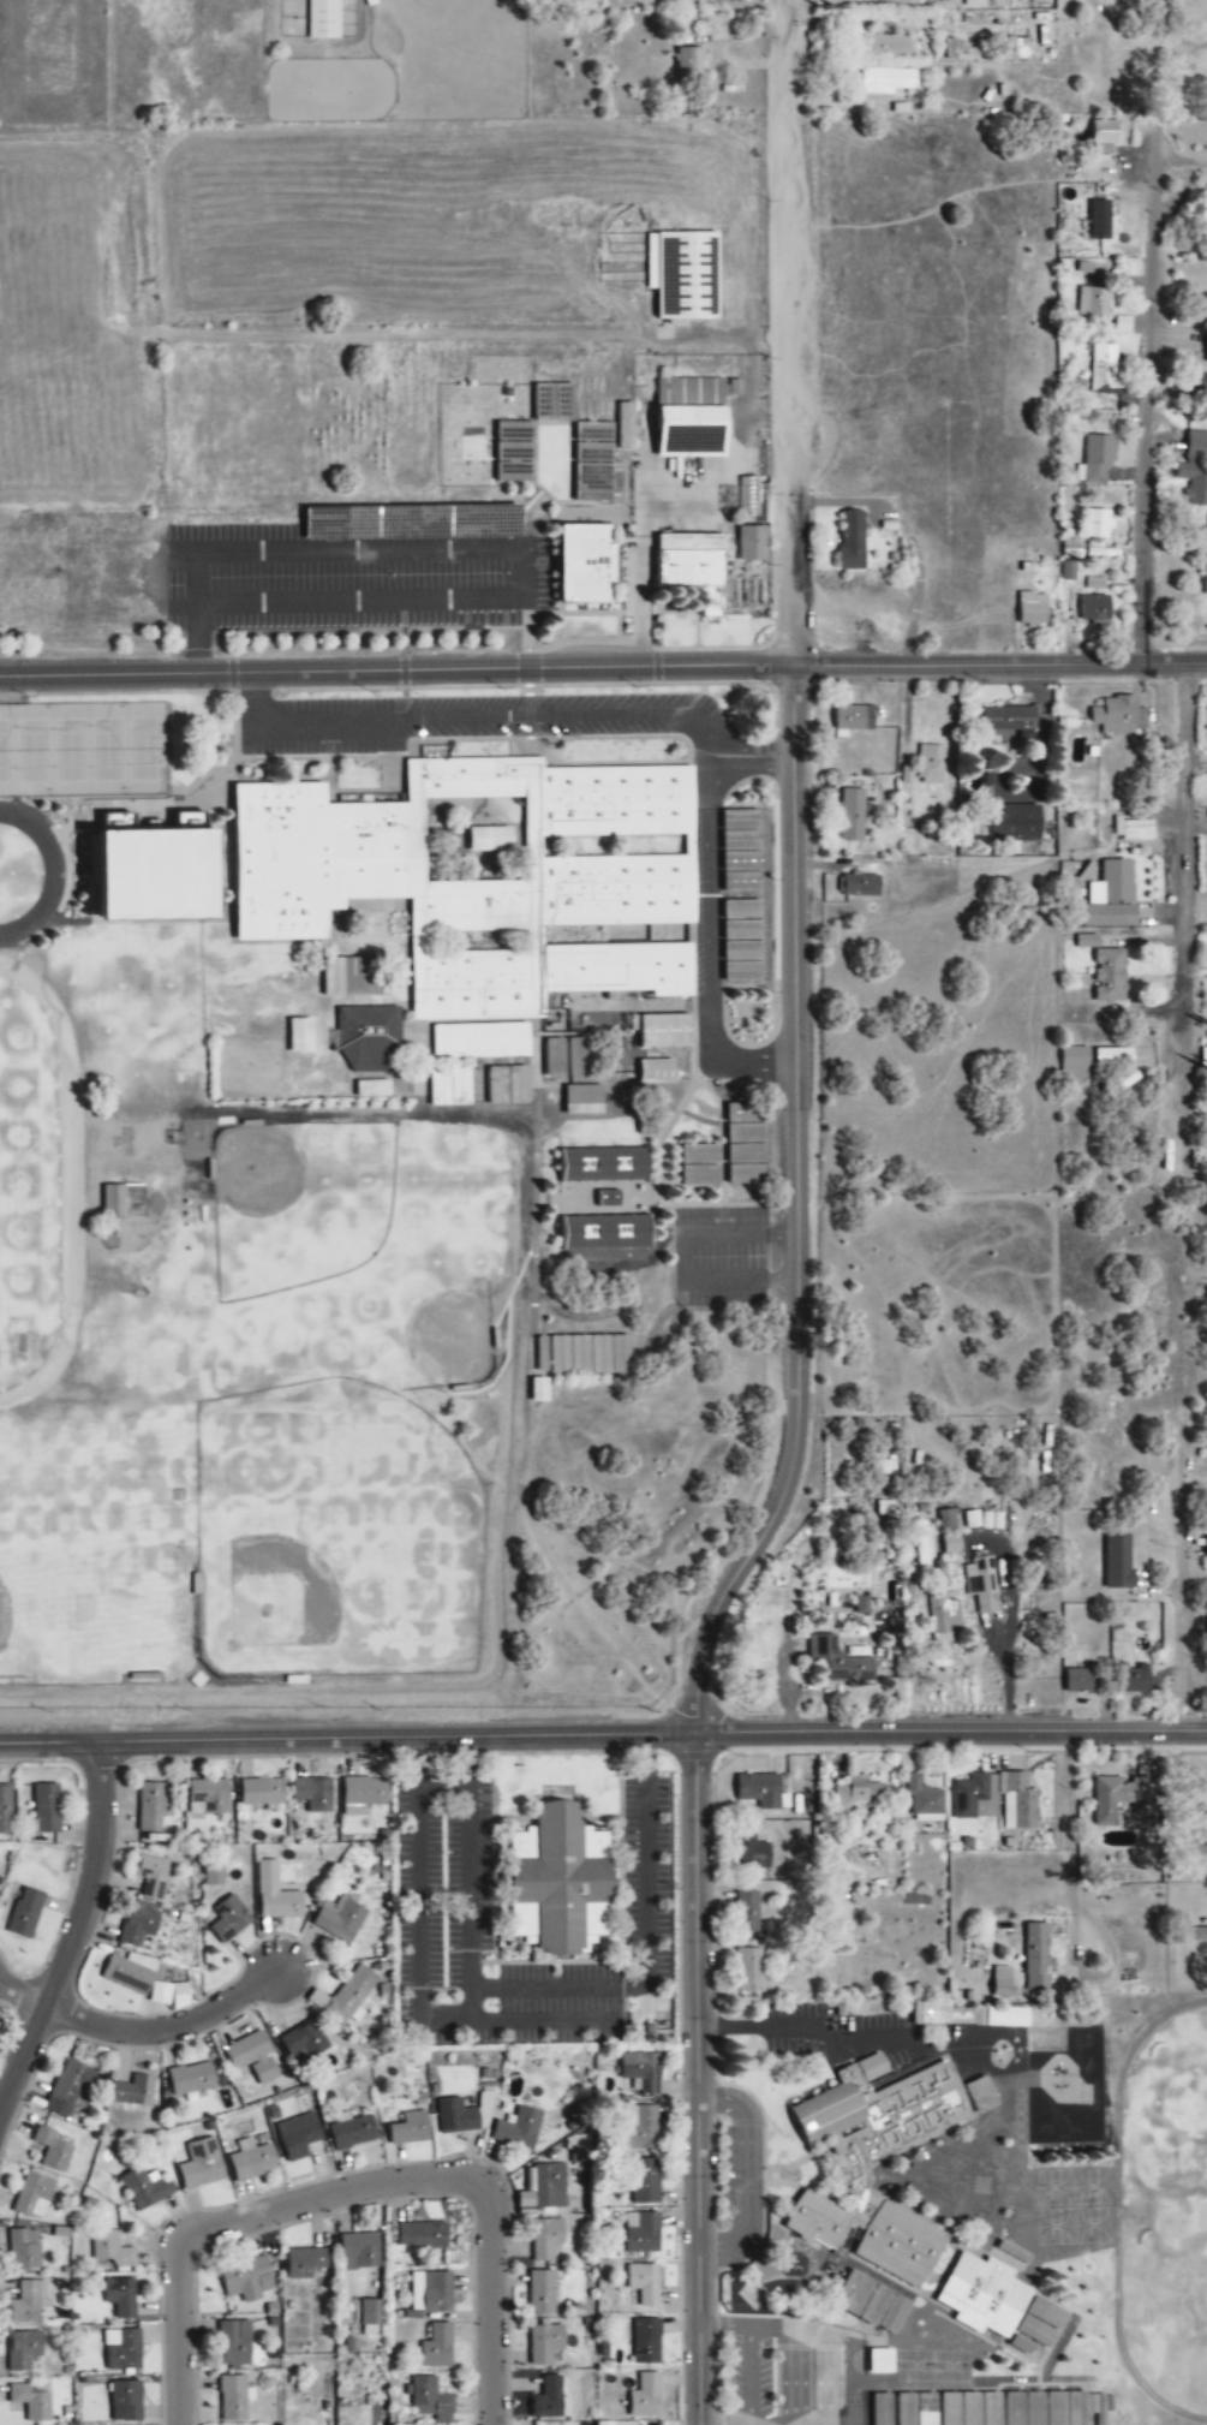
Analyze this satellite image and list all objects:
building: (665, 0)
building: (957, 0)
building: (976, 4)
building: (324, 20)
building: (891, 46)
building: (691, 64)
building: (886, 82)
building: (1105, 131)
building: (1100, 220)
building: (685, 274)
building: (1093, 304)
road: (790, 333)
building: (1104, 374)
road: (1148, 398)
building: (692, 416)
building: (627, 425)
building: (515, 452)
building: (1098, 458)
building: (1195, 470)
building: (751, 497)
building: (1098, 524)
building: (853, 540)
building: (1071, 542)
building: (753, 543)
building: (588, 564)
building: (1069, 571)
building: (1094, 583)
building: (1095, 608)
building: (1033, 609)
road: (999, 666)
road: (395, 669)
road: (508, 714)
building: (1119, 715)
building: (853, 720)
building: (1012, 721)
building: (434, 752)
building: (931, 762)
building: (853, 815)
building: (1018, 824)
building: (1137, 830)
road: (1153, 846)
building: (740, 851)
building: (161, 875)
building: (484, 876)
building: (860, 886)
building: (1112, 896)
building: (1087, 942)
road: (706, 953)
building: (742, 972)
building: (1110, 976)
building: (351, 977)
building: (664, 1031)
building: (301, 1036)
building: (369, 1037)
building: (479, 1041)
building: (554, 1057)
building: (578, 1057)
building: (1113, 1057)
building: (1205, 1059)
building: (1076, 1067)
building: (657, 1071)
building: (506, 1085)
building: (372, 1089)
road: (796, 1094)
building: (584, 1100)
building: (746, 1144)
building: (700, 1155)
building: (605, 1167)
building: (699, 1175)
building: (114, 1203)
building: (540, 1354)
building: (590, 1356)
building: (885, 1467)
building: (946, 1520)
building: (982, 1520)
building: (922, 1544)
building: (951, 1545)
building: (1118, 1562)
building: (979, 1578)
building: (986, 1604)
road: (1199, 1605)
building: (943, 1617)
road: (712, 1619)
building: (1081, 1680)
building: (1134, 1680)
road: (951, 1733)
road: (348, 1741)
building: (262, 1792)
building: (856, 1792)
building: (313, 1793)
building: (763, 1793)
building: (364, 1794)
building: (976, 1798)
building: (1117, 1798)
building: (924, 1800)
building: (1018, 1803)
building: (151, 1806)
building: (47, 1807)
building: (6, 1810)
building: (754, 1852)
building: (214, 1875)
building: (151, 1877)
building: (558, 1877)
building: (276, 1894)
building: (747, 1911)
building: (25, 1913)
building: (229, 1918)
building: (341, 1918)
building: (138, 1923)
road: (76, 1936)
building: (1038, 1955)
building: (749, 1970)
building: (130, 1972)
building: (1002, 1982)
building: (171, 1994)
building: (345, 1995)
building: (966, 2014)
road: (144, 2032)
building: (651, 2032)
building: (305, 2042)
building: (253, 2057)
building: (643, 2072)
building: (192, 2078)
road: (698, 2080)
building: (70, 2089)
building: (133, 2091)
building: (982, 2095)
building: (456, 2116)
building: (647, 2127)
building: (410, 2128)
building: (520, 2128)
building: (352, 2131)
building: (299, 2135)
building: (53, 2149)
building: (252, 2159)
building: (202, 2164)
building: (854, 2169)
building: (646, 2181)
building: (548, 2185)
building: (147, 2188)
road: (357, 2188)
building: (34, 2195)
building: (643, 2233)
building: (422, 2235)
building: (546, 2238)
building: (25, 2248)
building: (112, 2250)
building: (360, 2251)
building: (305, 2263)
building: (246, 2278)
building: (646, 2283)
building: (431, 2292)
building: (542, 2292)
building: (986, 2295)
building: (120, 2296)
building: (28, 2301)
building: (873, 2302)
building: (371, 2312)
building: (1041, 2320)
building: (646, 2341)
building: (545, 2342)
building: (234, 2343)
building: (1022, 2344)
building: (437, 2347)
building: (23, 2349)
building: (123, 2349)
building: (882, 2360)
building: (647, 2395)
building: (234, 2397)
building: (550, 2399)
building: (431, 2400)
building: (31, 2401)
building: (126, 2401)
building: (918, 2408)
building: (972, 2408)
building: (1057, 2408)
building: (604, 2423)

